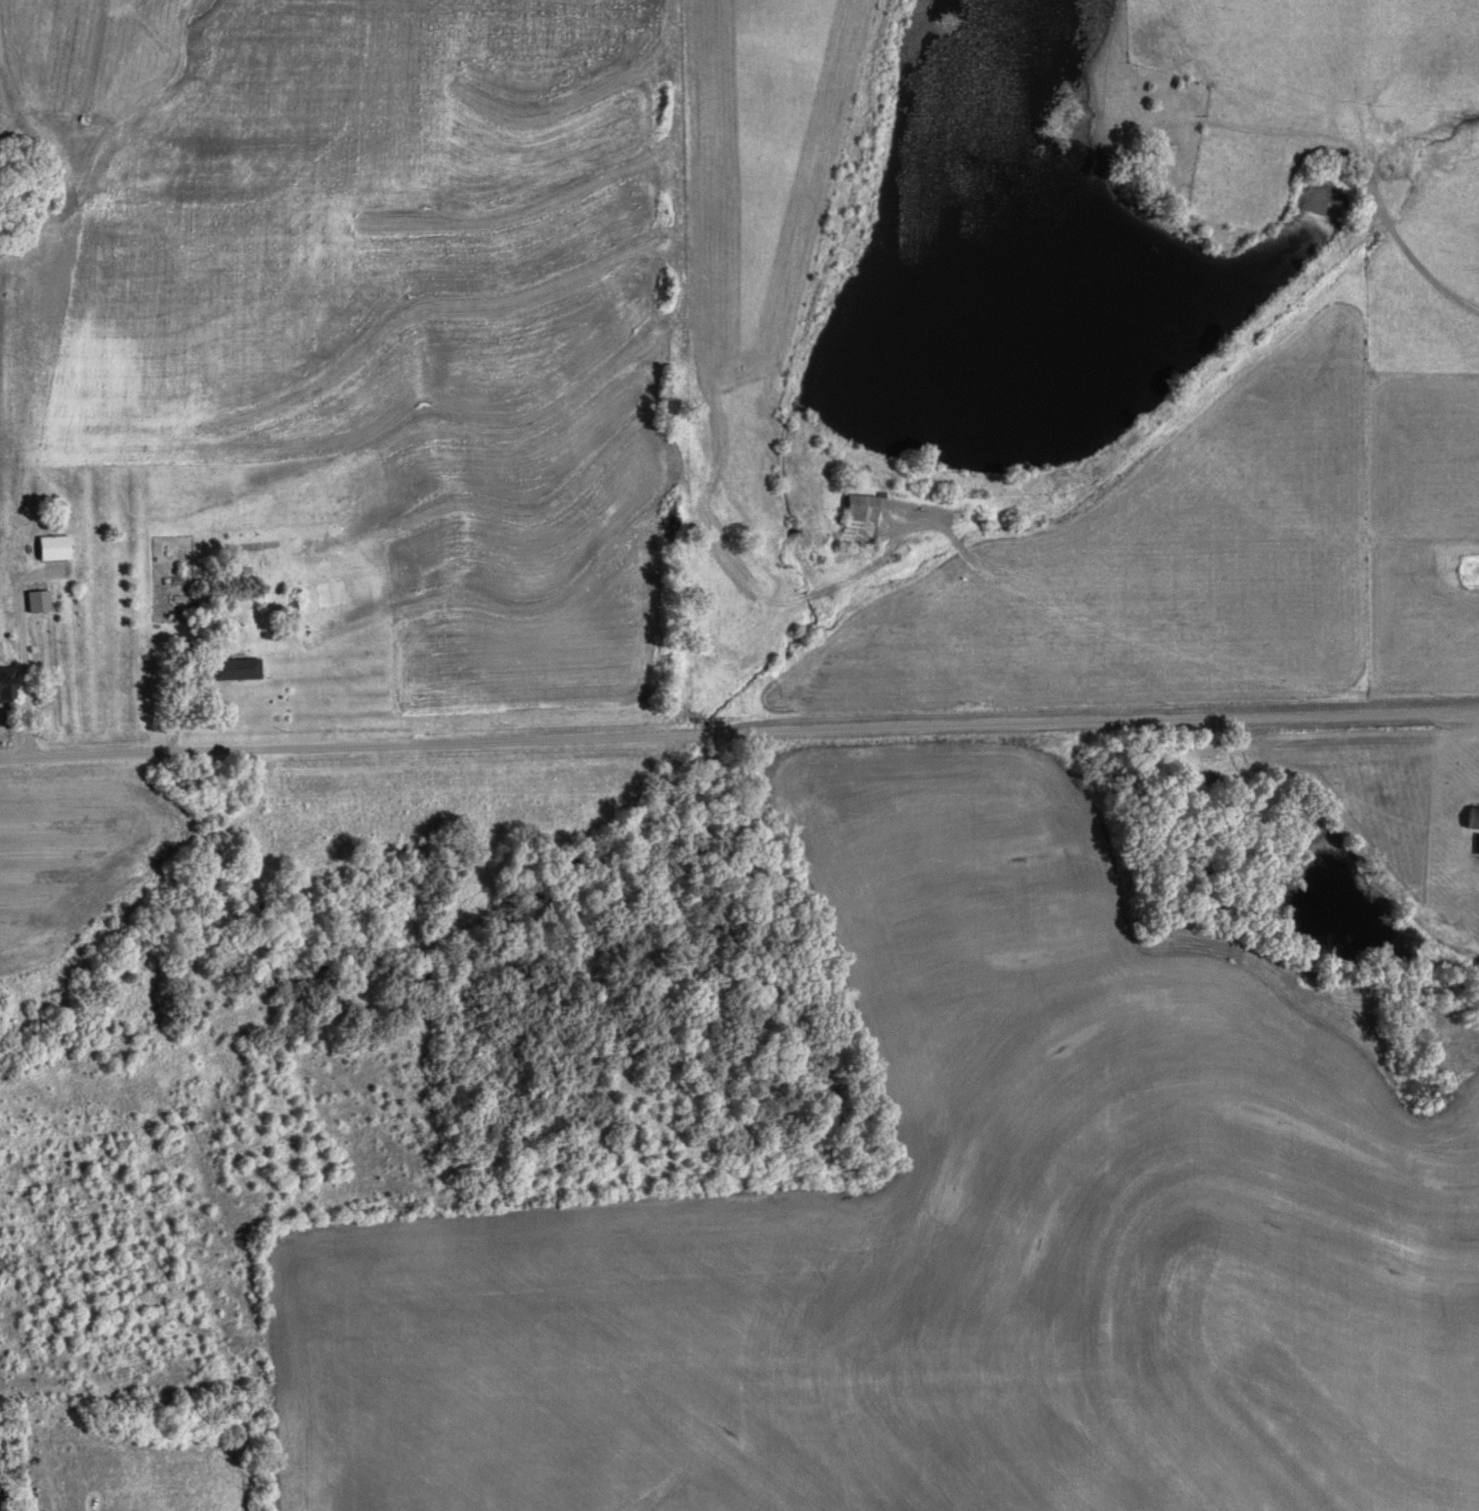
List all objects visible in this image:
building: (1166, 152)
road: (1378, 189)
building: (866, 506)
building: (52, 546)
building: (36, 600)
building: (235, 667)
building: (6, 682)
road: (739, 729)
building: (1471, 817)

